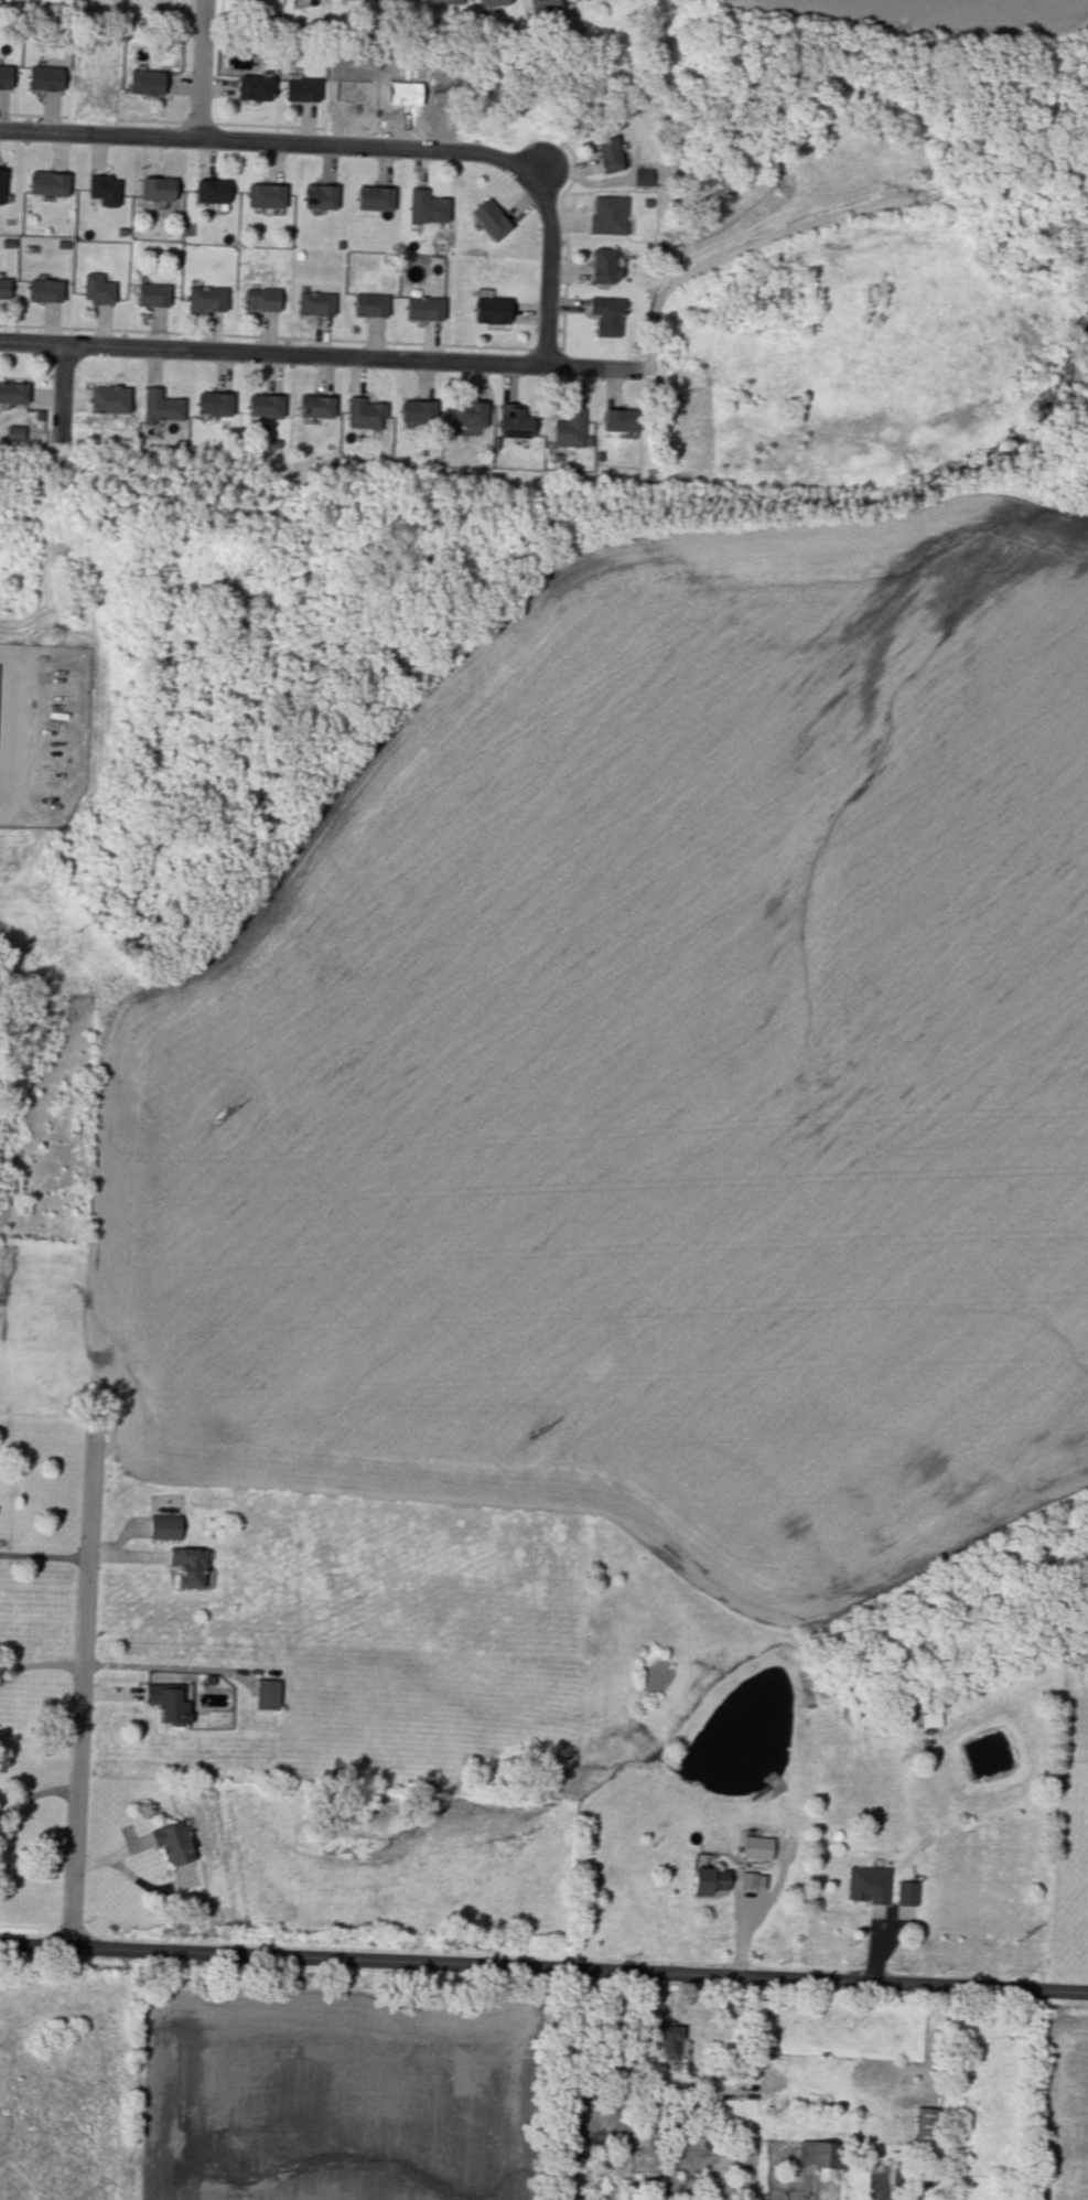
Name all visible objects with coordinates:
building: (400, 0)
building: (584, 0)
building: (444, 1)
building: (491, 1)
building: (540, 4)
crop: (922, 18)
road: (202, 71)
building: (3, 76)
building: (41, 77)
building: (142, 82)
building: (250, 86)
building: (298, 88)
road: (363, 147)
building: (604, 153)
building: (640, 176)
building: (0, 179)
building: (46, 183)
building: (101, 189)
building: (154, 189)
building: (208, 191)
building: (262, 195)
building: (319, 195)
building: (371, 198)
building: (425, 205)
building: (606, 215)
building: (488, 217)
building: (597, 265)
building: (2, 287)
building: (96, 288)
building: (41, 289)
building: (149, 293)
building: (203, 297)
building: (258, 299)
building: (312, 301)
building: (366, 303)
building: (421, 308)
building: (487, 308)
building: (604, 314)
road: (321, 354)
road: (63, 391)
building: (11, 393)
building: (105, 399)
building: (212, 404)
building: (160, 405)
building: (312, 405)
building: (263, 406)
building: (413, 410)
building: (362, 411)
building: (464, 414)
building: (616, 420)
building: (510, 421)
building: (567, 428)
building: (13, 432)
parking lot: (42, 732)
crop: (657, 1073)
power tower: (227, 1122)
power tower: (537, 1439)
building: (164, 1527)
road: (42, 1555)
building: (190, 1566)
road: (40, 1663)
road: (79, 1694)
building: (267, 1695)
building: (168, 1703)
road: (35, 1794)
building: (173, 1843)
building: (757, 1847)
building: (754, 1879)
building: (708, 1880)
building: (868, 1885)
building: (907, 1893)
power tower: (1026, 1941)
road: (543, 1967)
building: (668, 2040)
road: (563, 2081)
road: (762, 2082)
crop: (335, 2090)
road: (832, 2096)
crop: (1065, 2104)
building: (926, 2124)
building: (821, 2155)
building: (606, 2198)

